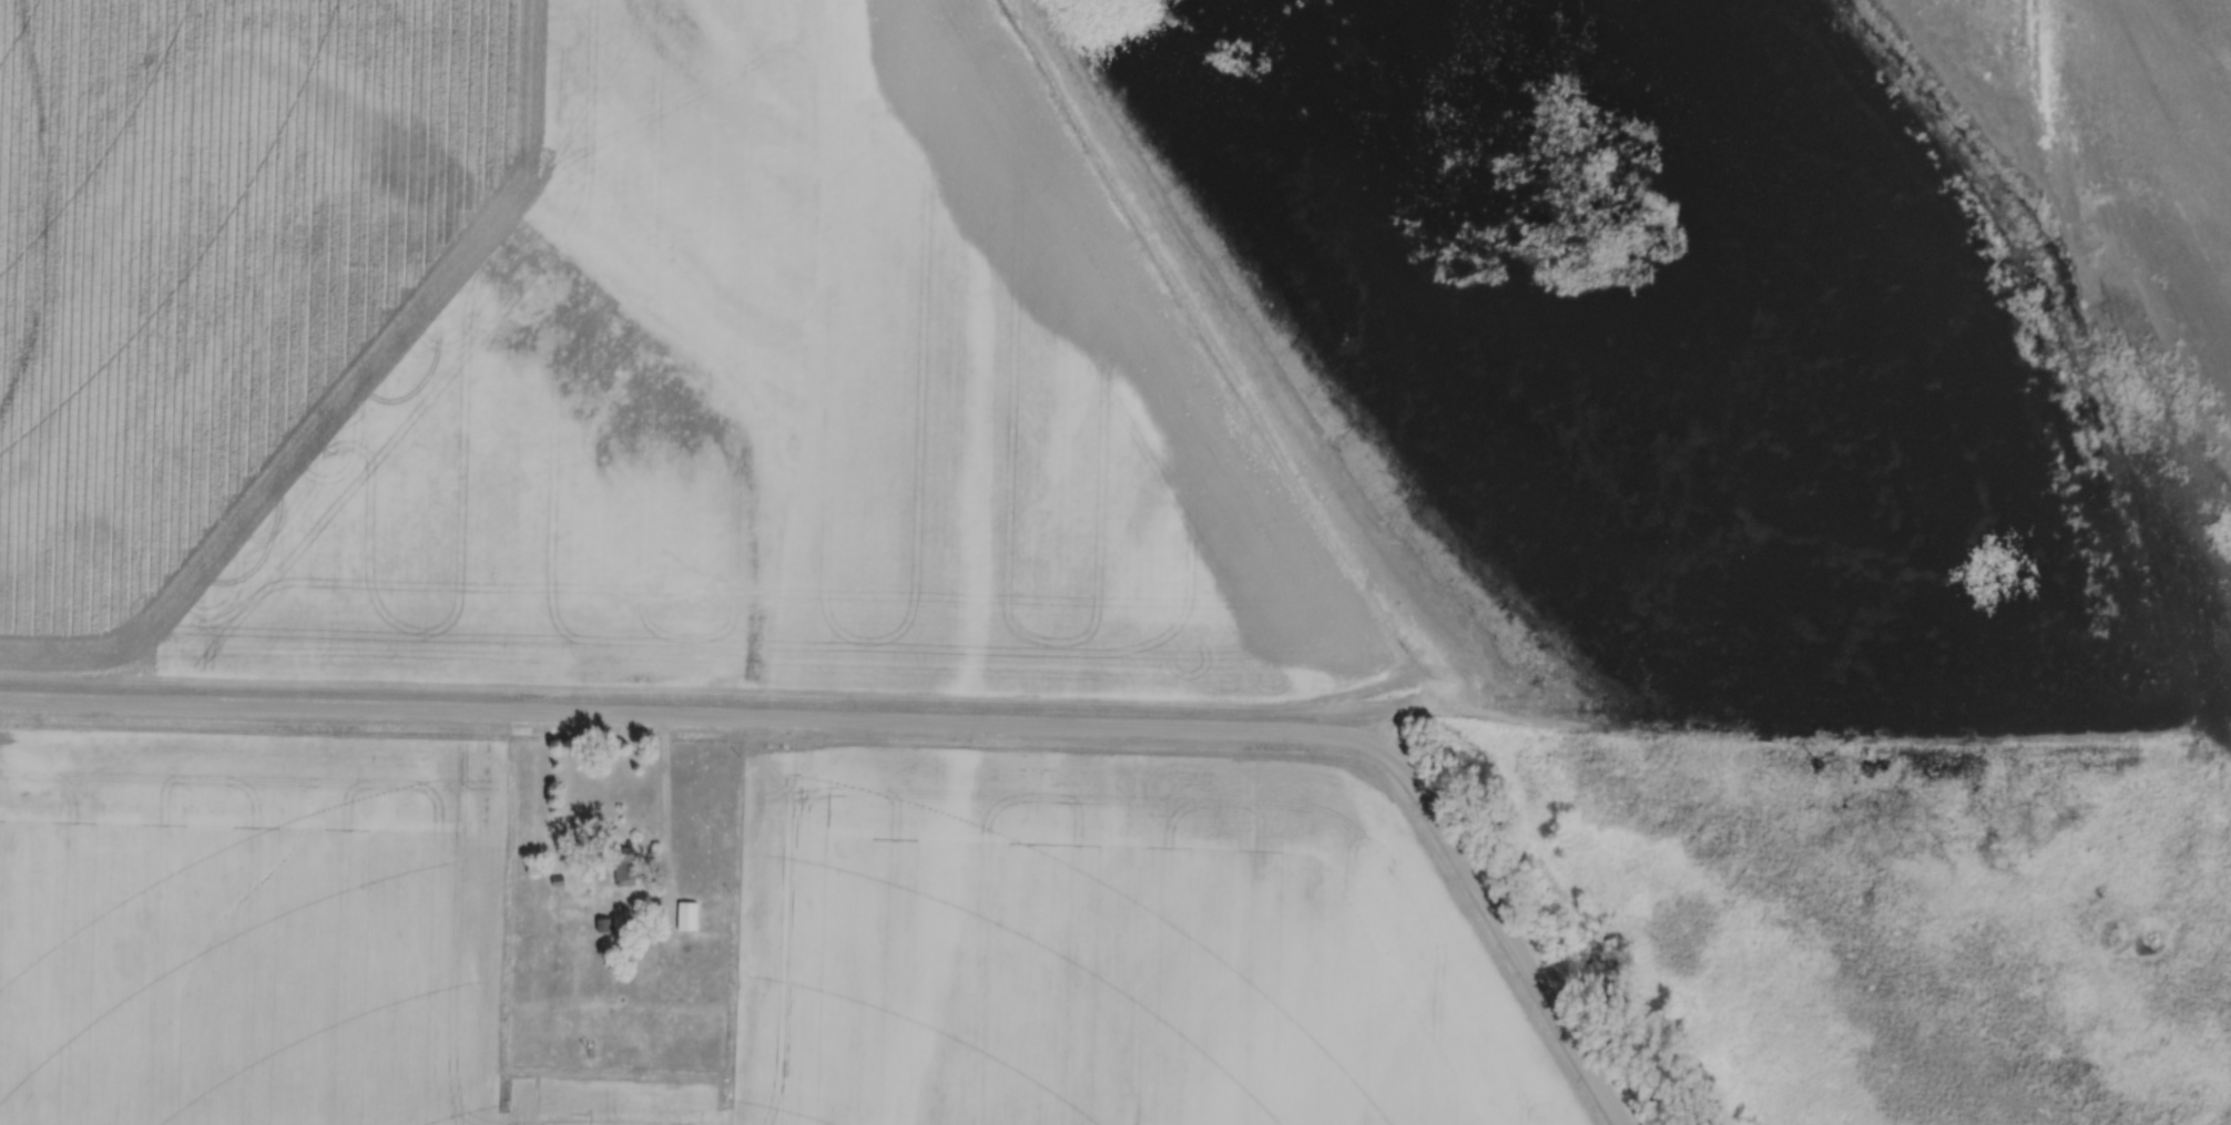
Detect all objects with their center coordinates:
road: (916, 717)
building: (625, 862)
building: (686, 913)

